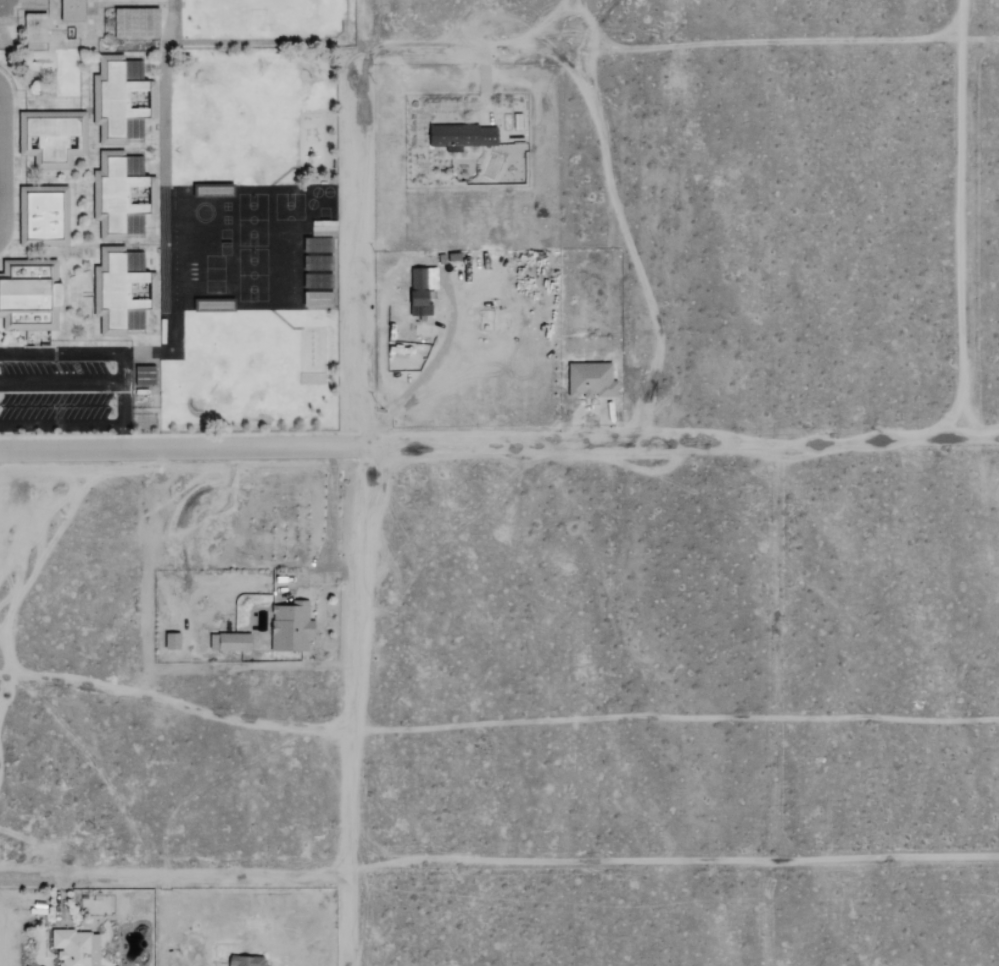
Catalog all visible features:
building: (71, 10)
park: (268, 22)
building: (138, 23)
building: (36, 28)
road: (675, 44)
building: (121, 100)
building: (464, 136)
building: (53, 138)
road: (2, 159)
building: (121, 195)
building: (43, 217)
road: (962, 217)
road: (443, 275)
building: (422, 289)
building: (121, 291)
building: (29, 296)
building: (319, 300)
road: (110, 353)
building: (147, 376)
building: (591, 379)
road: (62, 382)
road: (62, 422)
road: (680, 443)
road: (180, 449)
road: (358, 512)
building: (292, 626)
building: (234, 640)
building: (173, 641)
road: (569, 867)
road: (69, 876)
building: (77, 947)
building: (247, 960)

